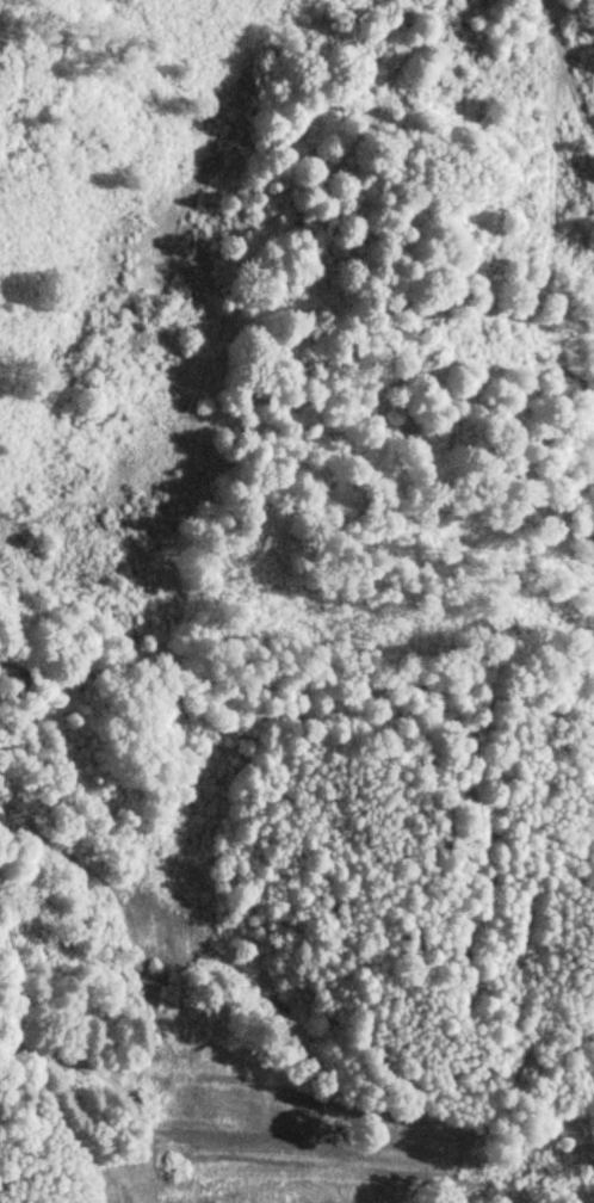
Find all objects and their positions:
road: (297, 671)

